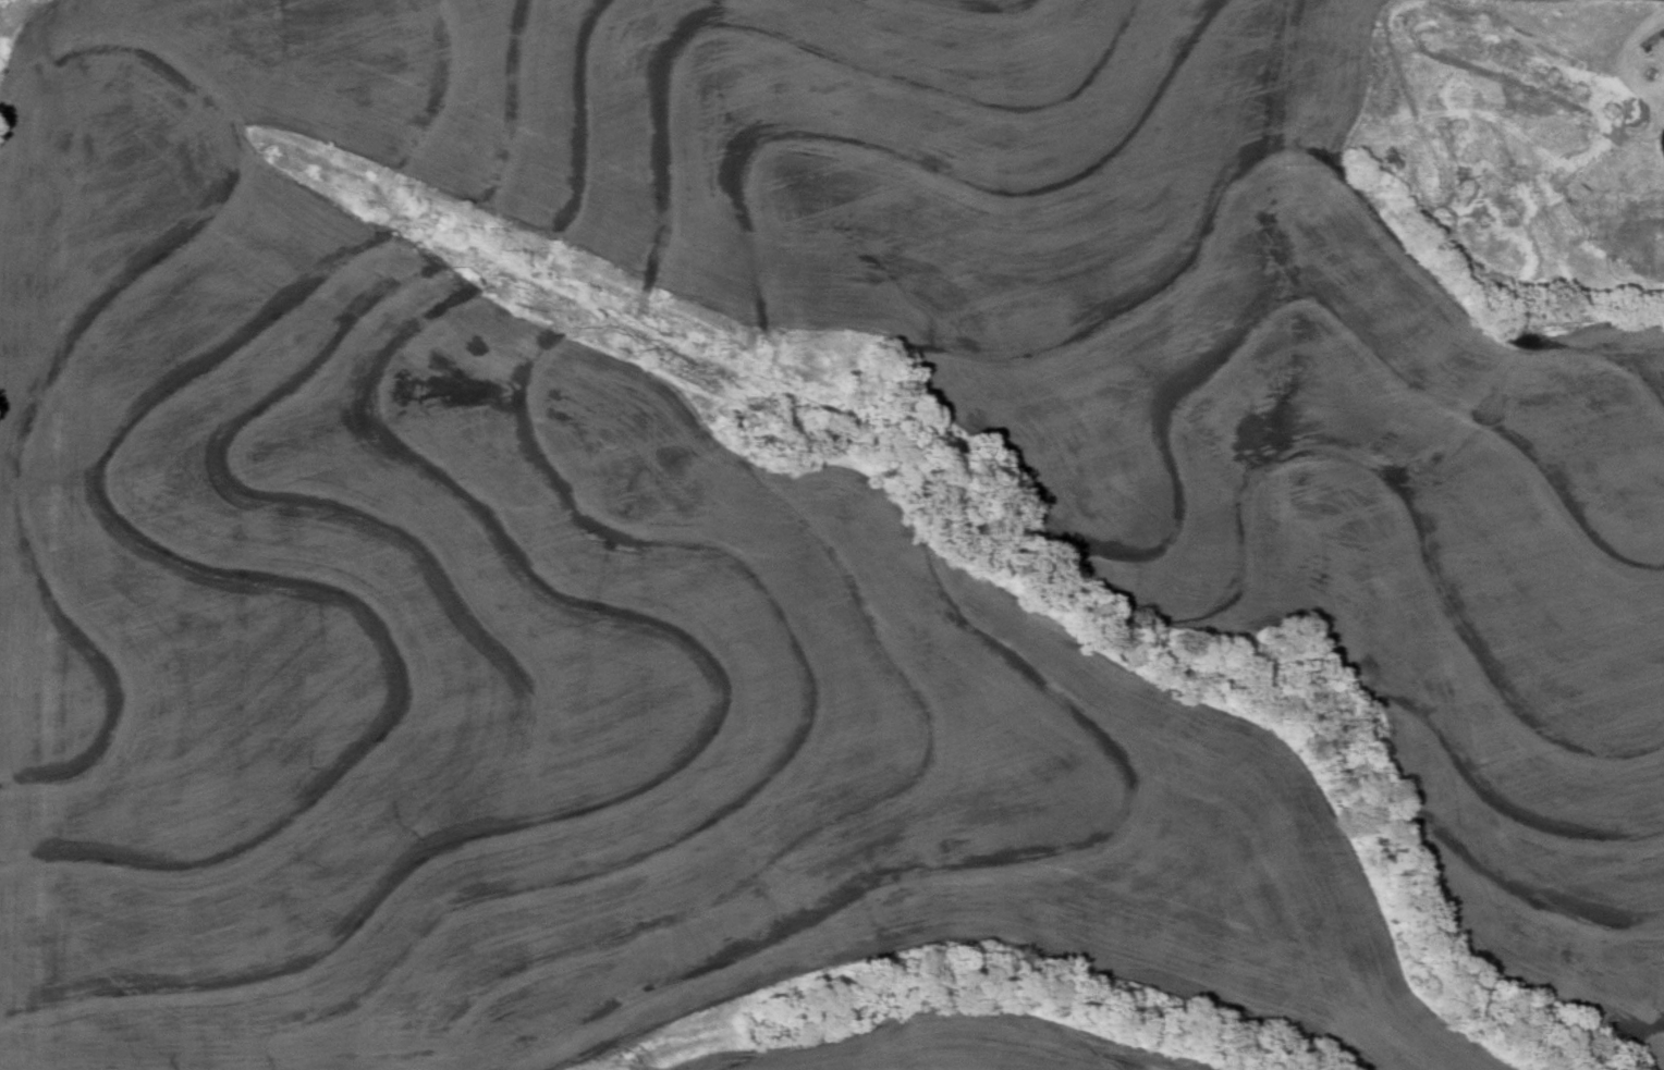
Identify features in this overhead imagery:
building: (1659, 236)
crop: (775, 540)
crop: (962, 1048)

